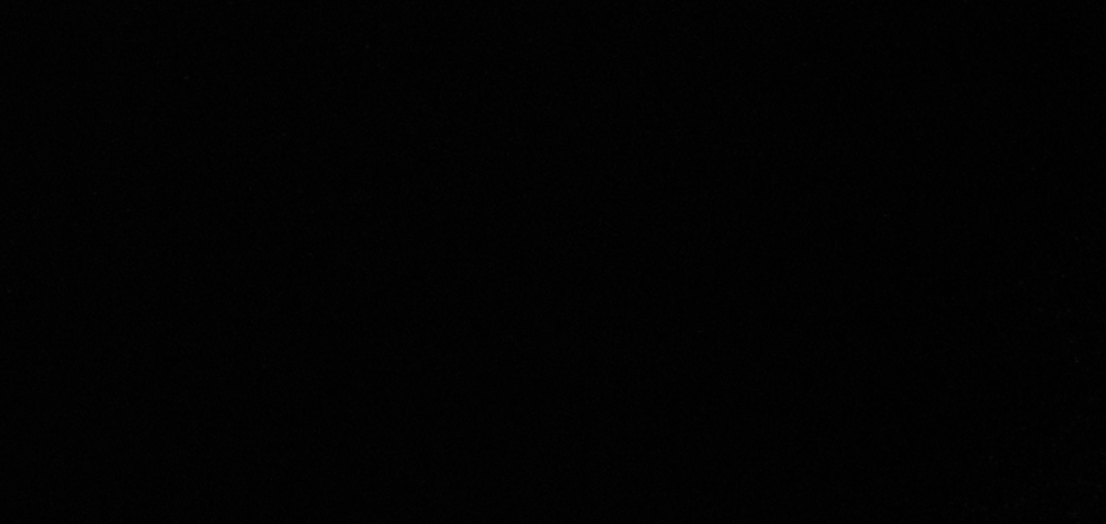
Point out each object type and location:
river: (242, 170)

